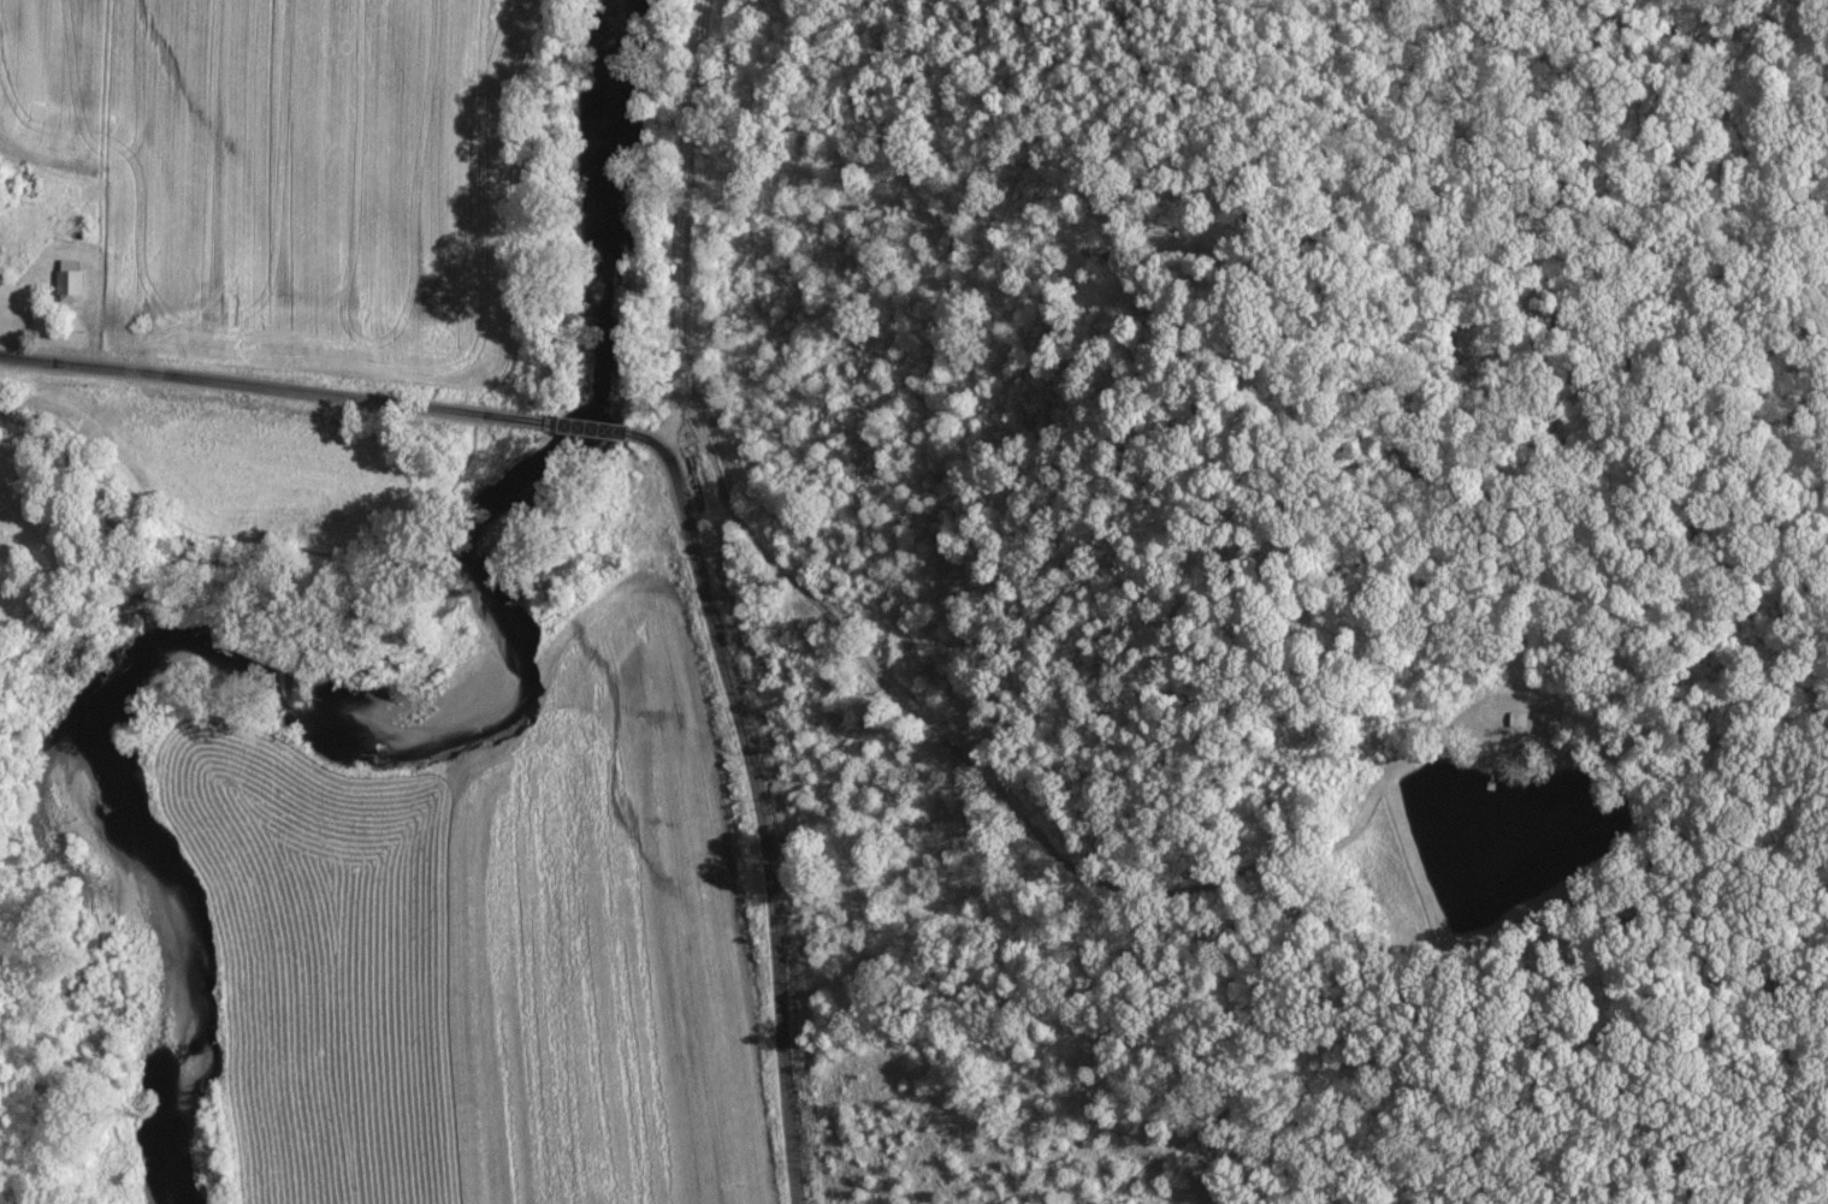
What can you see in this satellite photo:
building: (75, 278)
road: (679, 497)

